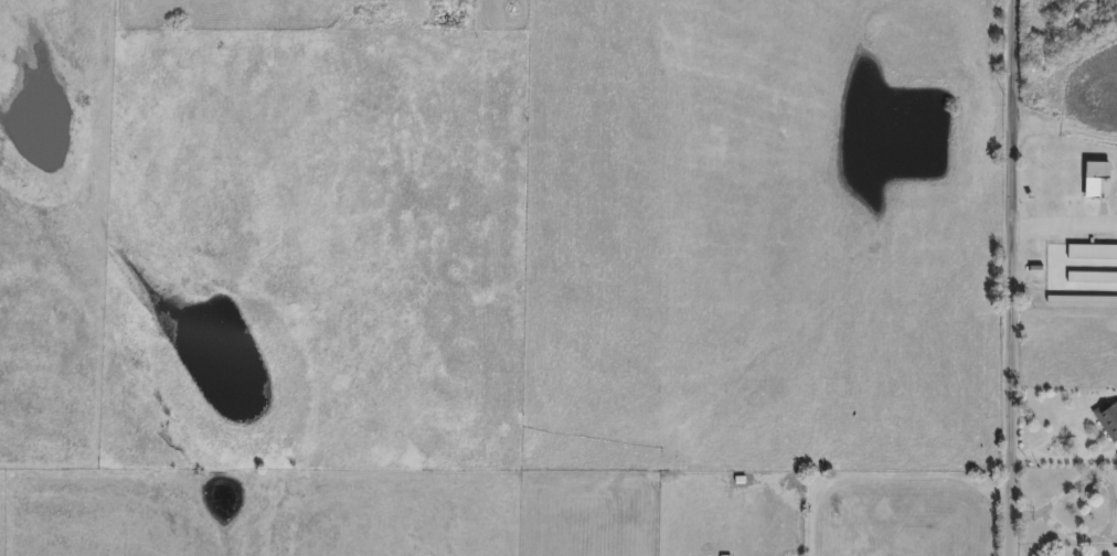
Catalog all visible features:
building: (1095, 179)
road: (1067, 226)
road: (1018, 277)
building: (1107, 419)

